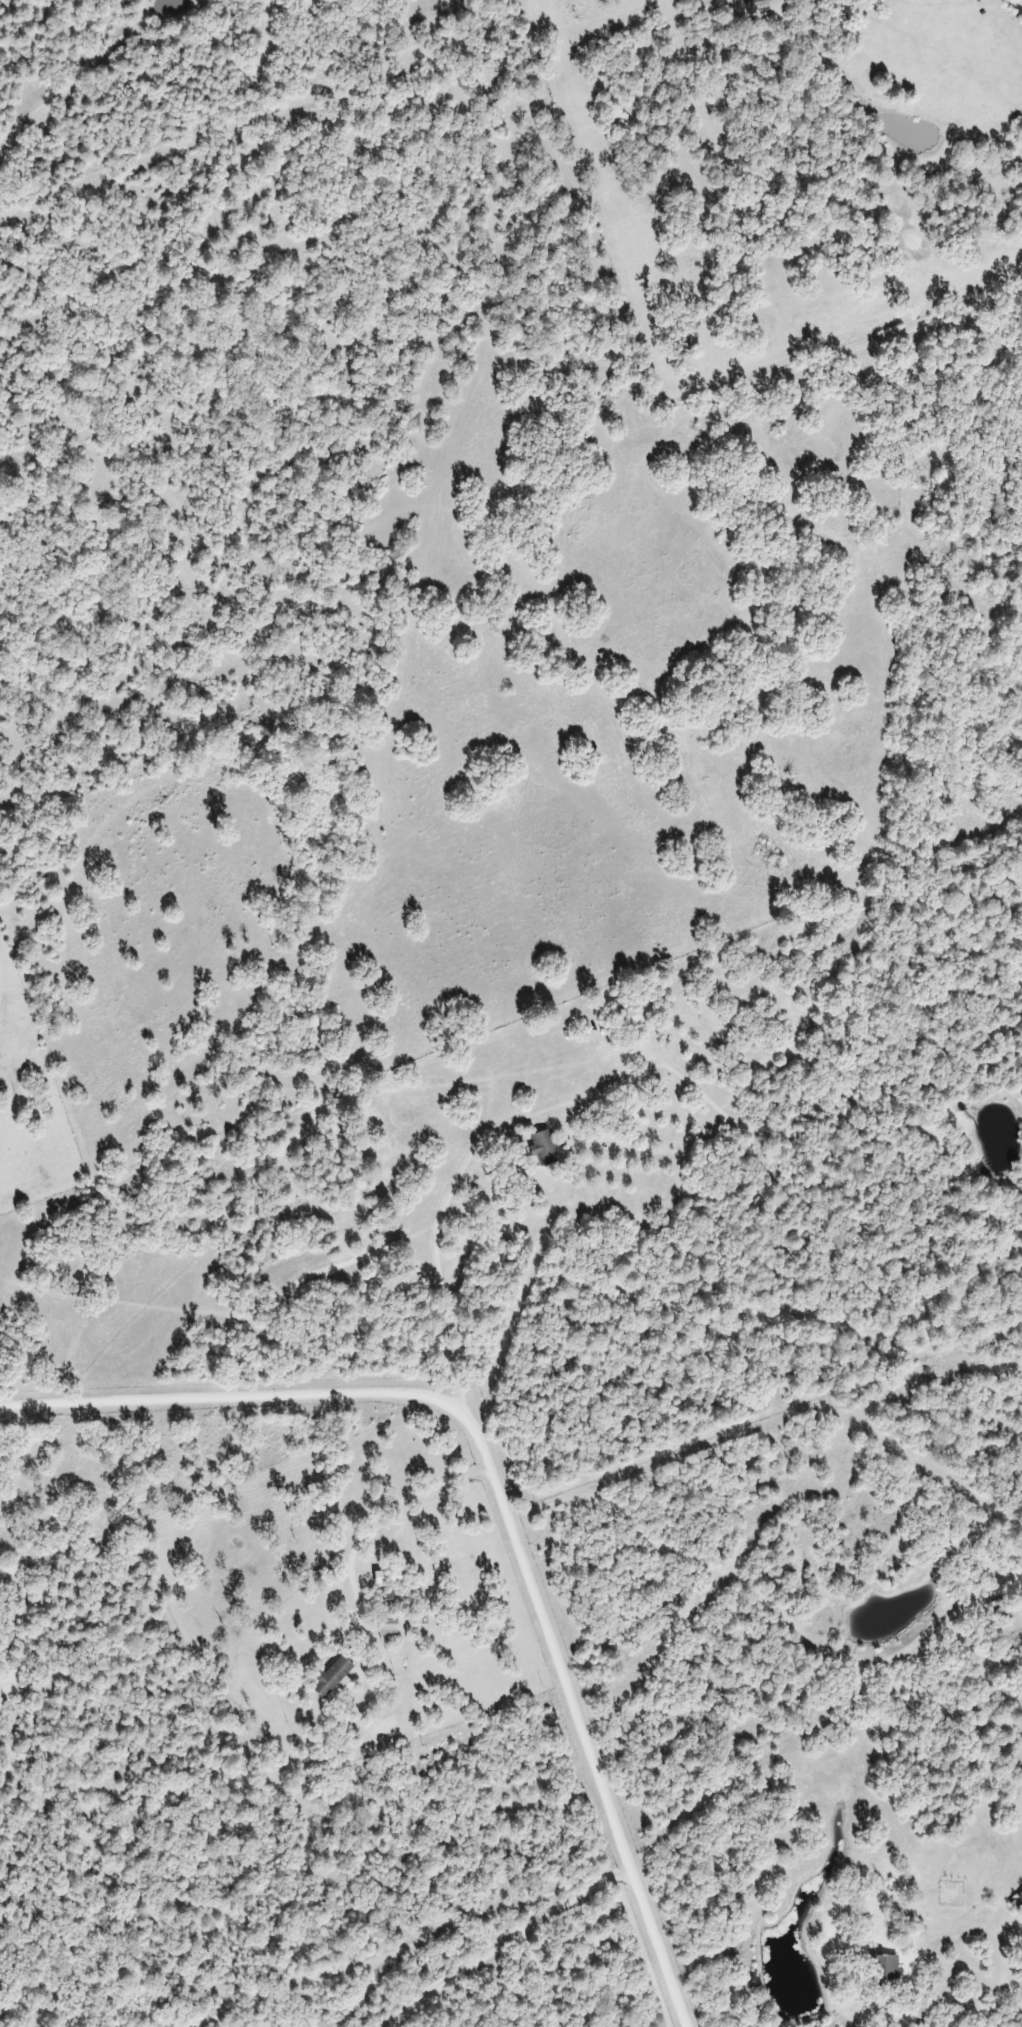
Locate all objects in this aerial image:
building: (630, 1014)
building: (559, 1132)
building: (536, 1148)
building: (380, 1599)
building: (380, 1627)
building: (323, 1676)
building: (1010, 1903)
building: (877, 1969)
building: (916, 2007)

